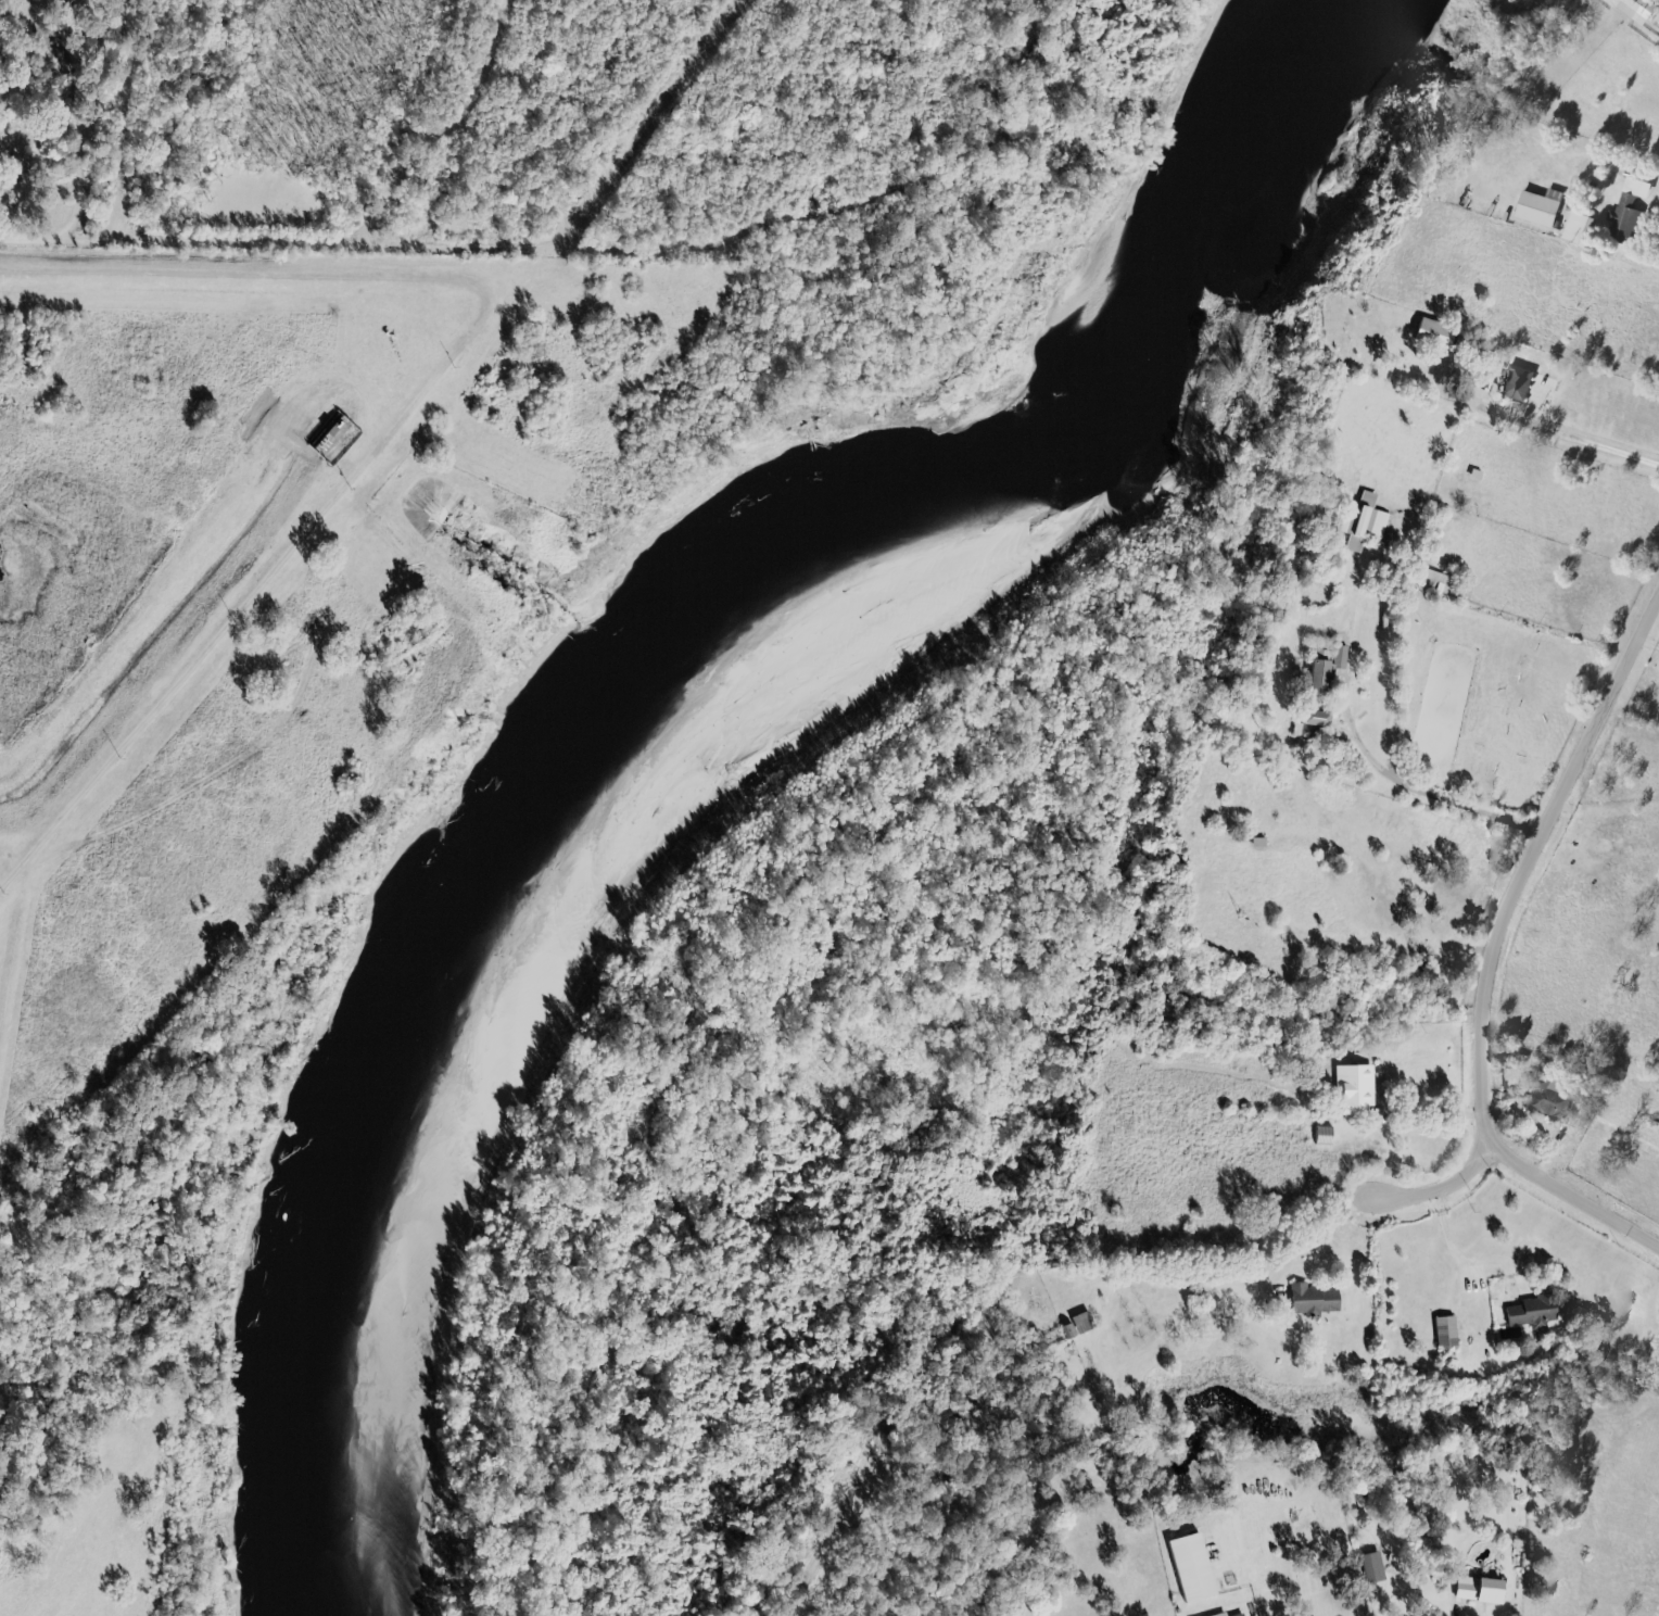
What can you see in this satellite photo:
building: (1636, 10)
building: (1540, 207)
building: (1629, 209)
building: (1576, 229)
road: (22, 238)
building: (1434, 333)
building: (1517, 382)
road: (1575, 437)
building: (1363, 519)
building: (1354, 544)
building: (1435, 580)
building: (1339, 657)
building: (1318, 676)
river: (677, 712)
building: (1312, 724)
road: (1364, 755)
road: (1575, 770)
road: (1403, 947)
building: (1354, 1089)
building: (1547, 1098)
building: (1324, 1136)
road: (1493, 1138)
road: (1438, 1185)
road: (1309, 1228)
road: (1451, 1248)
building: (1312, 1300)
building: (1532, 1312)
building: (1445, 1333)
building: (1372, 1567)
building: (1191, 1568)
building: (1478, 1590)
road: (646, 1606)
building: (1220, 1615)
building: (1239, 1615)

